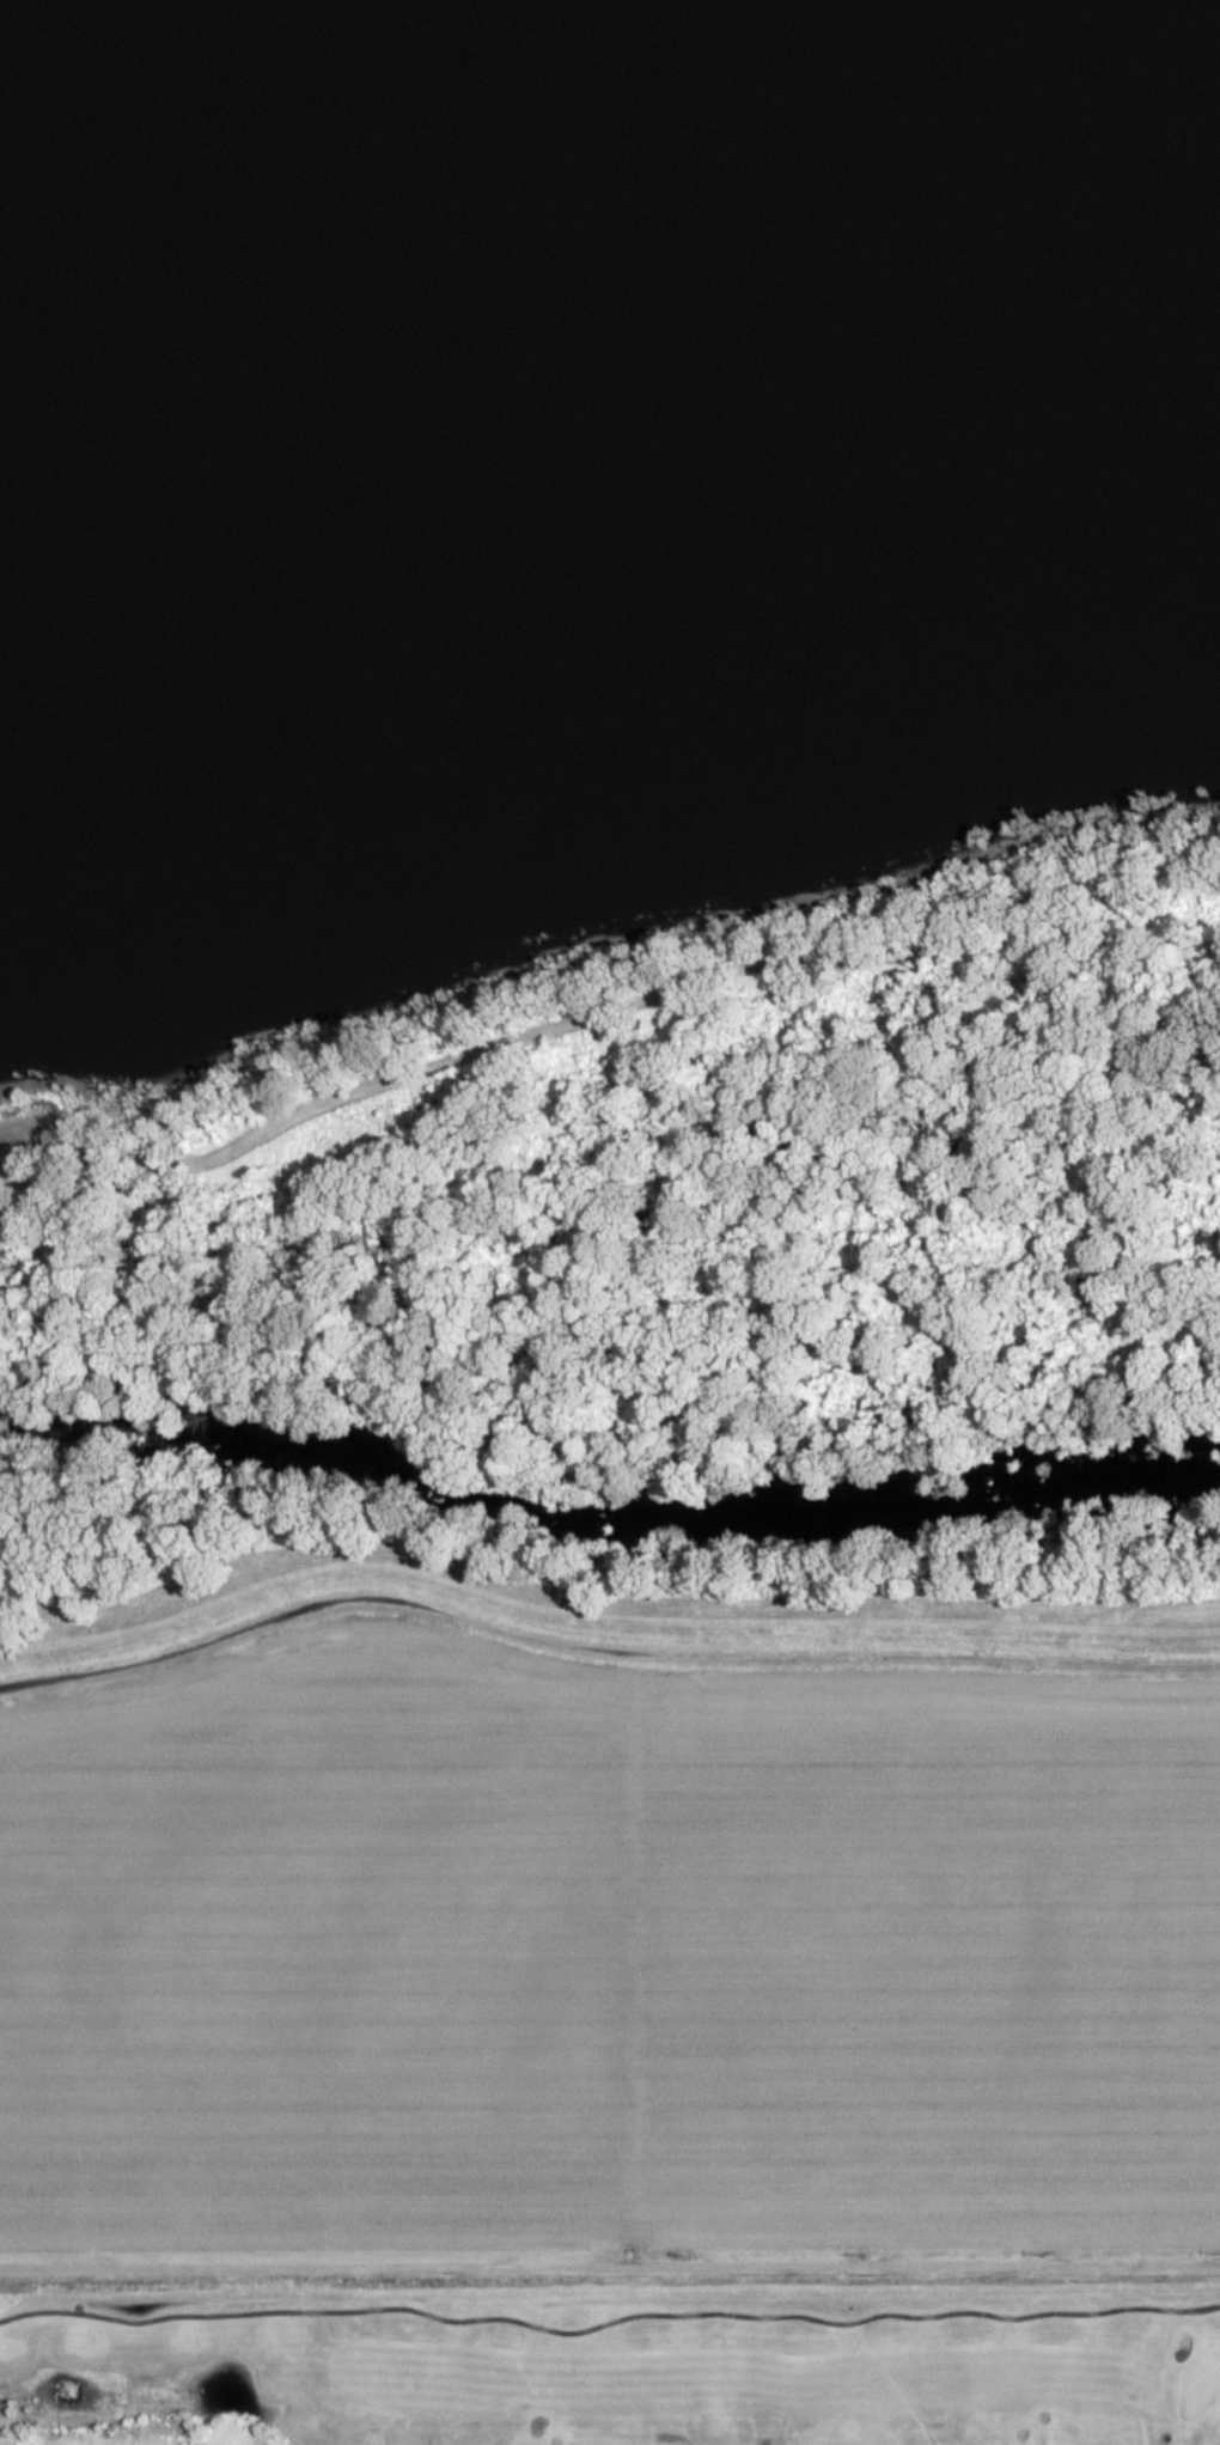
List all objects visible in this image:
river: (74, 12)
road: (610, 2266)

